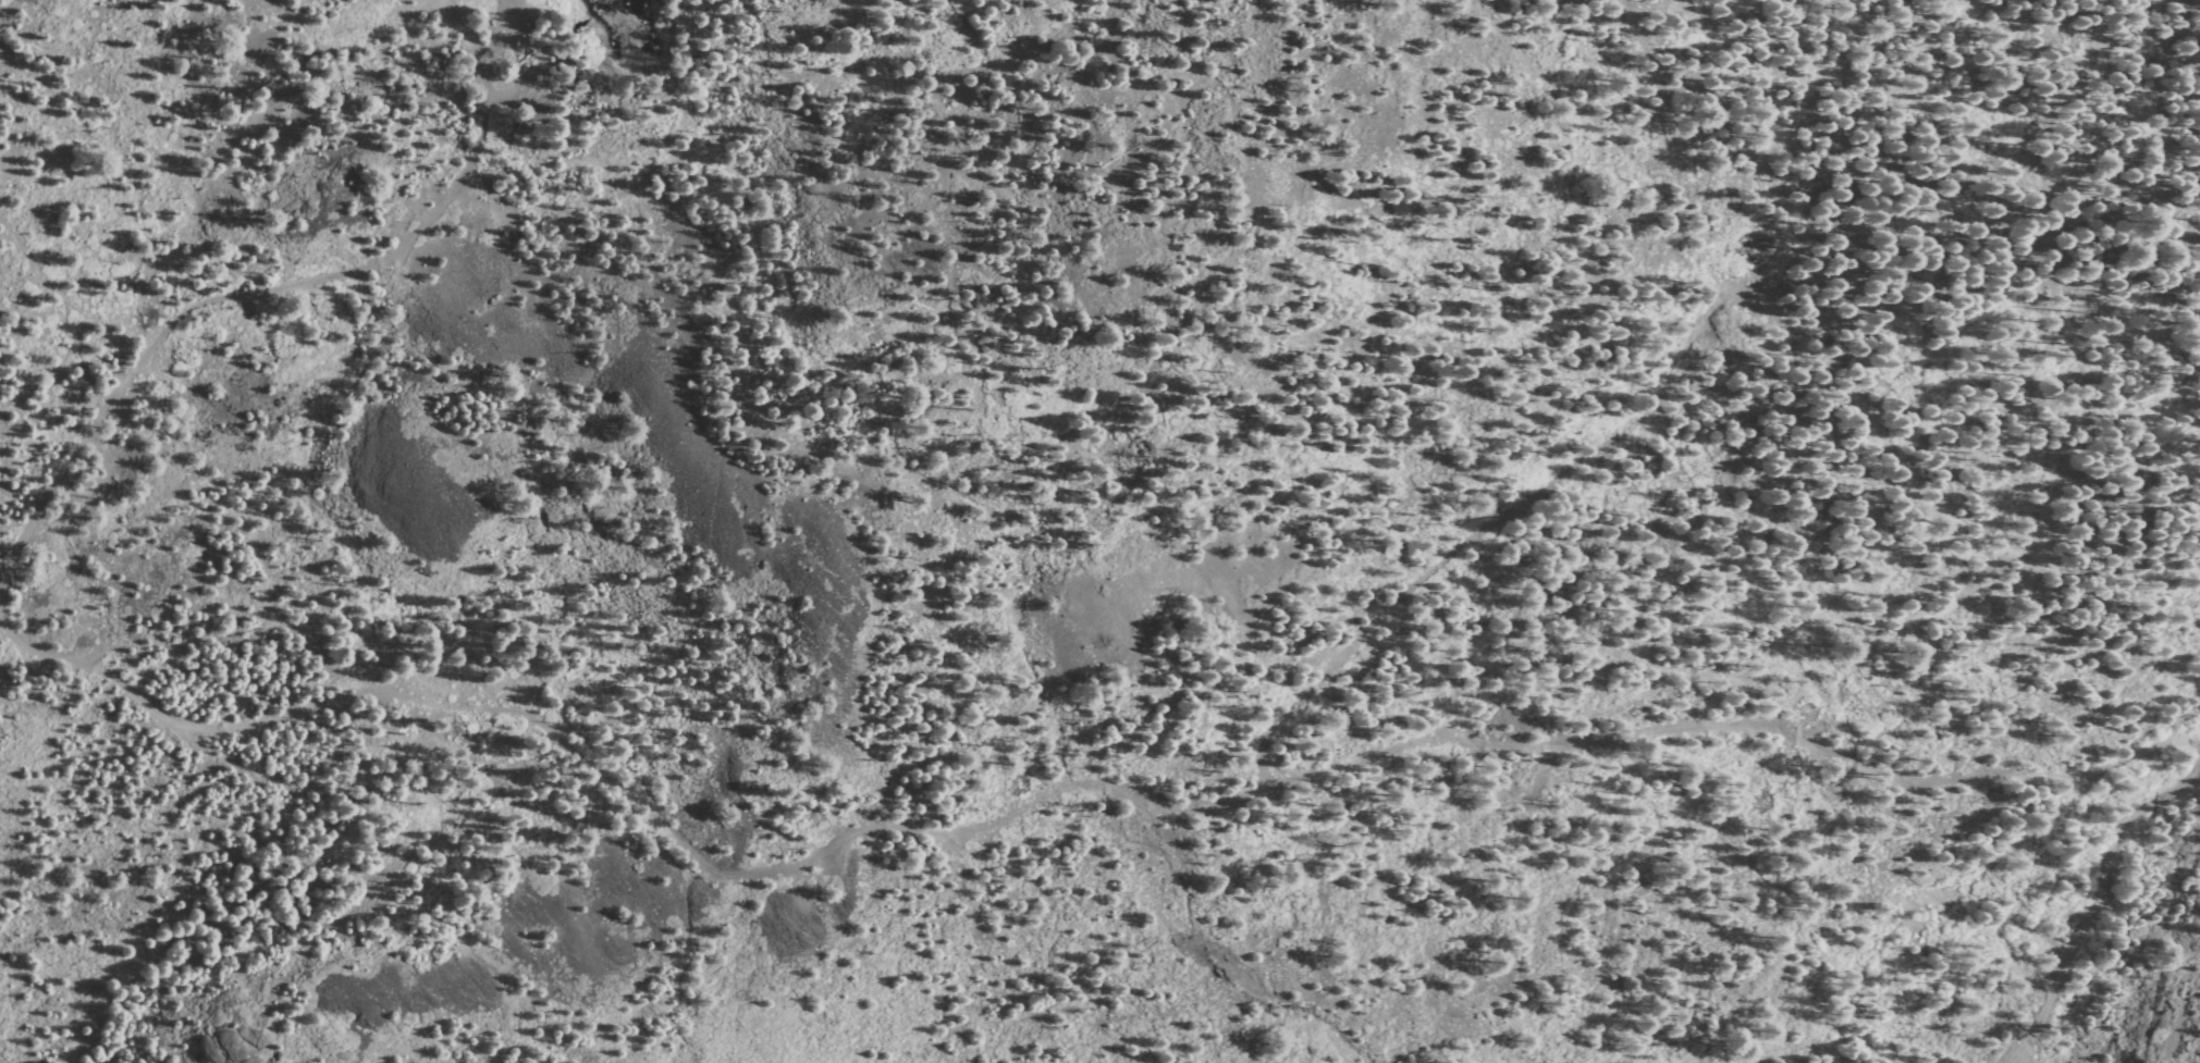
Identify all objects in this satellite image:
road: (2063, 875)

